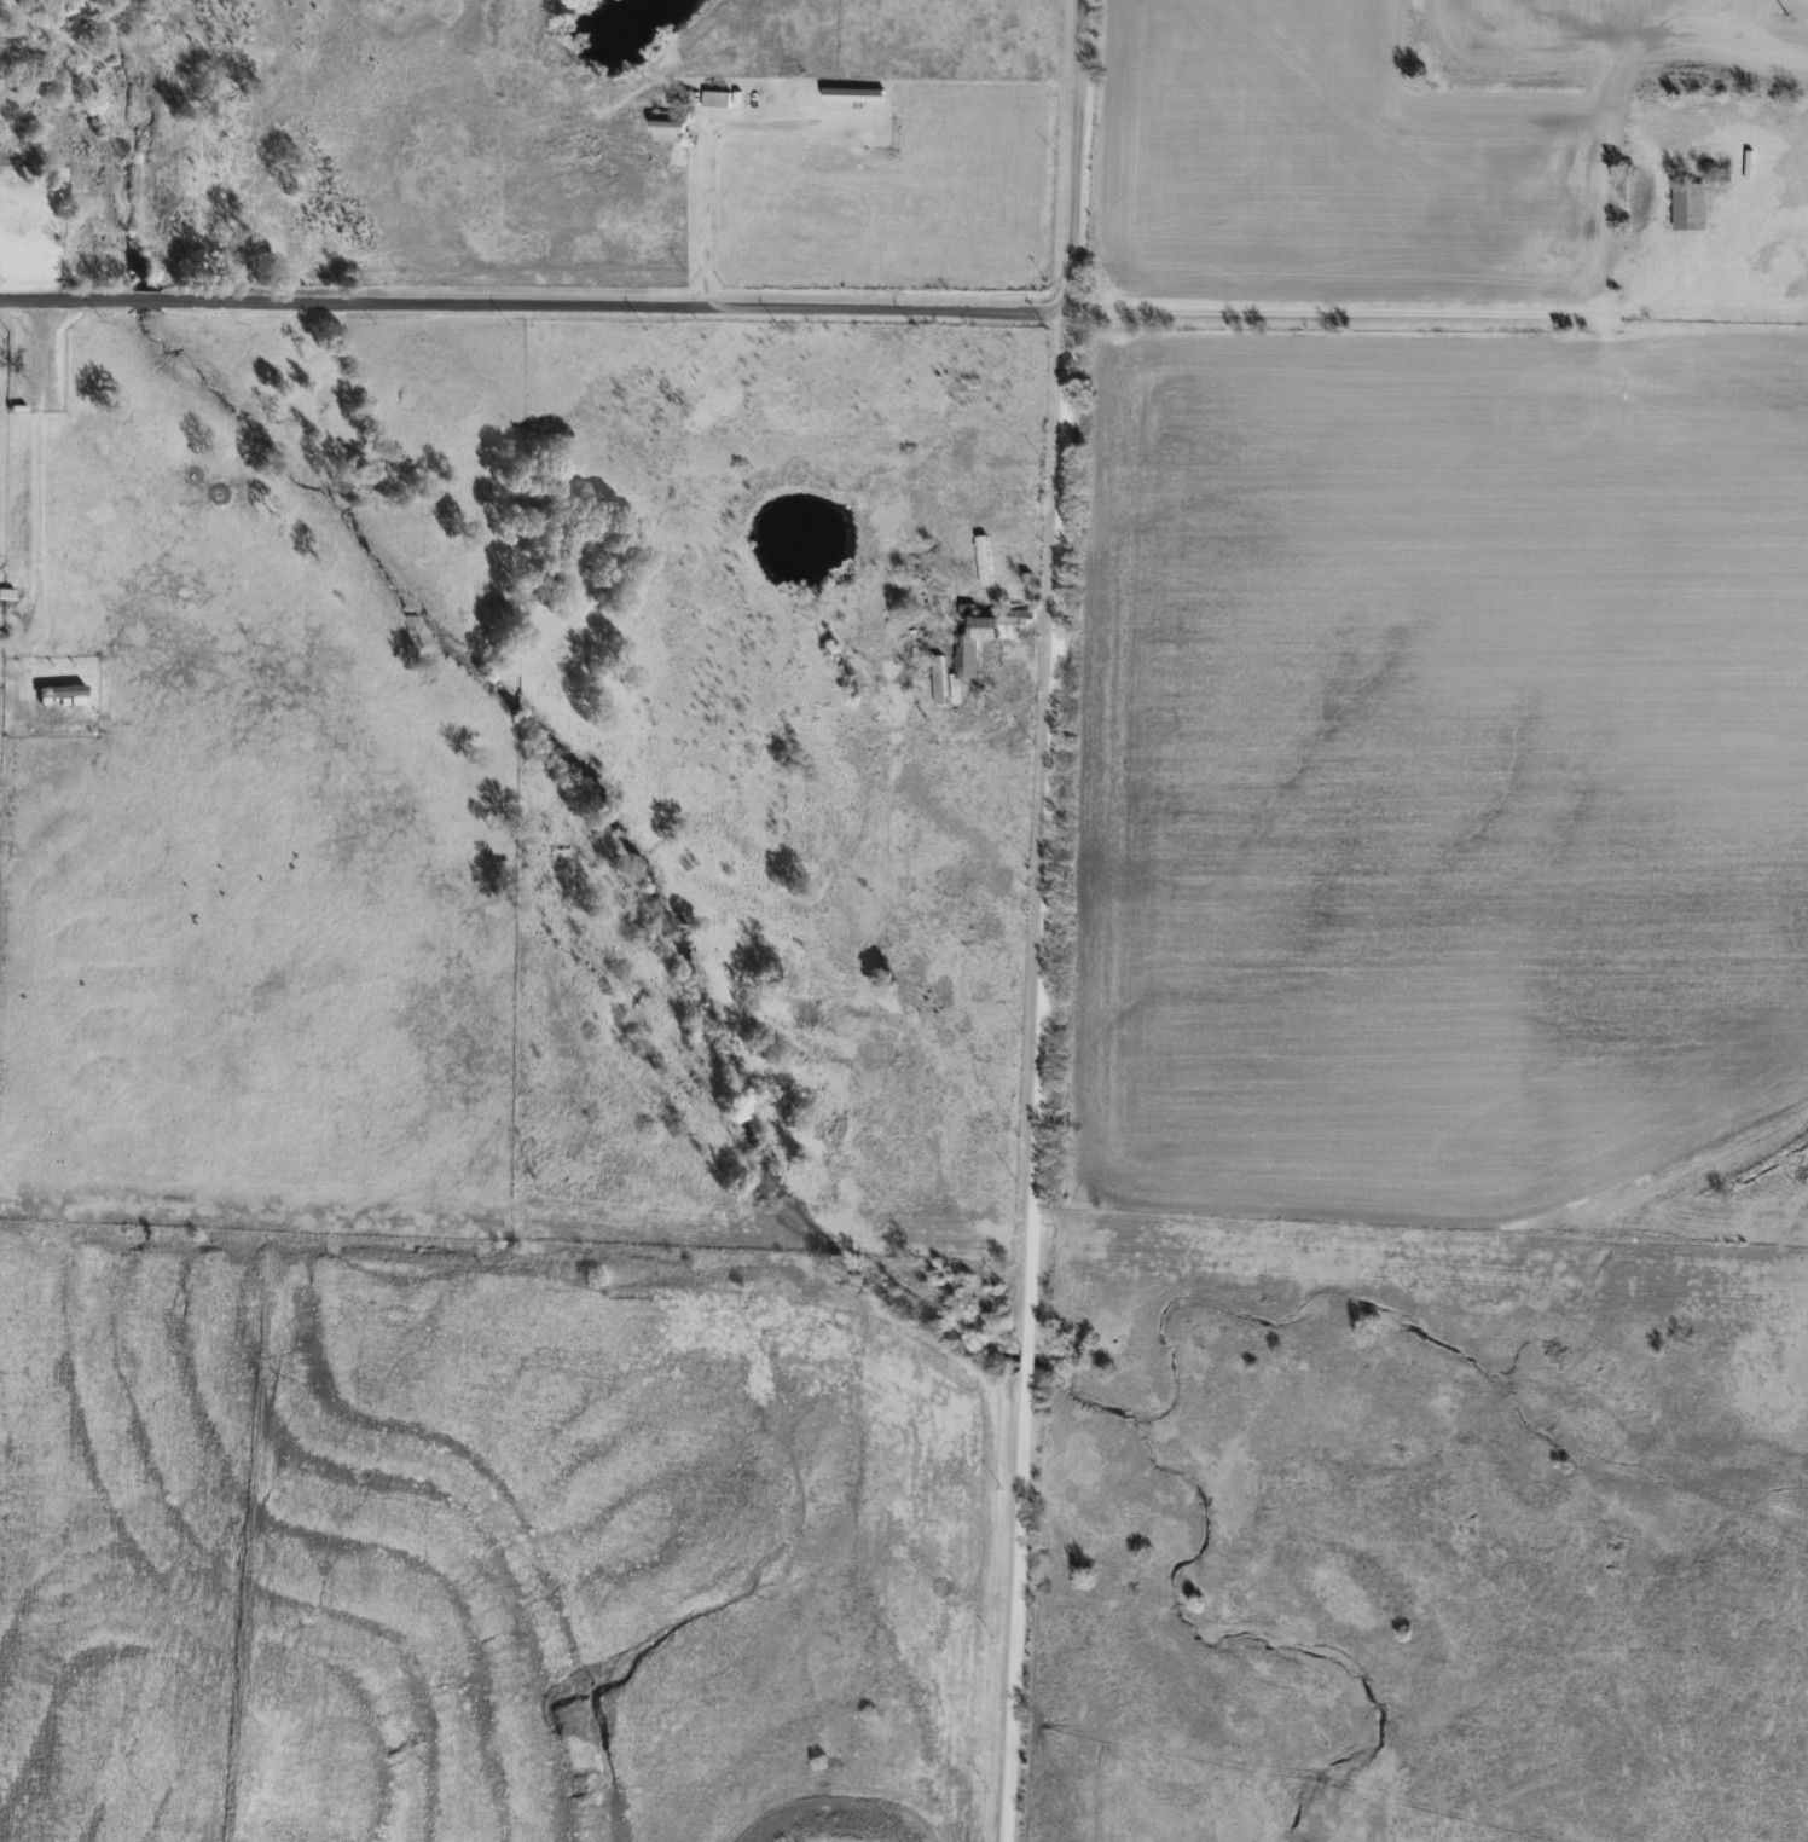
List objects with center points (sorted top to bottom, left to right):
power tower: (1787, 16)
building: (850, 94)
building: (714, 100)
building: (665, 128)
road: (711, 138)
road: (1072, 155)
building: (1686, 205)
road: (532, 305)
road: (29, 482)
building: (981, 561)
building: (981, 637)
building: (937, 680)
road: (1035, 1076)

